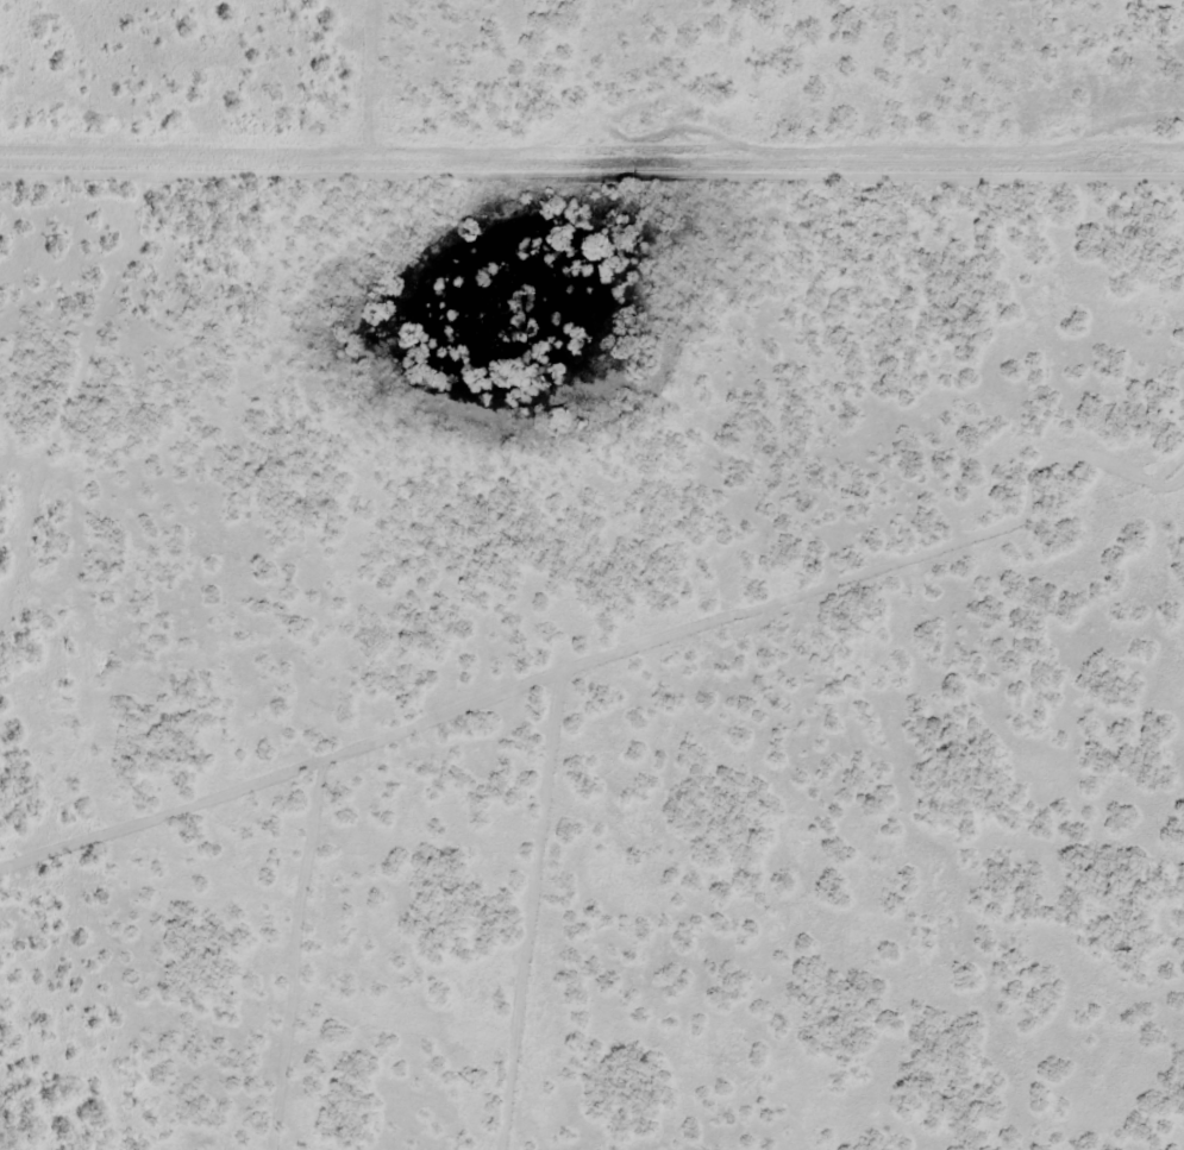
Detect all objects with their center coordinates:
road: (591, 176)

